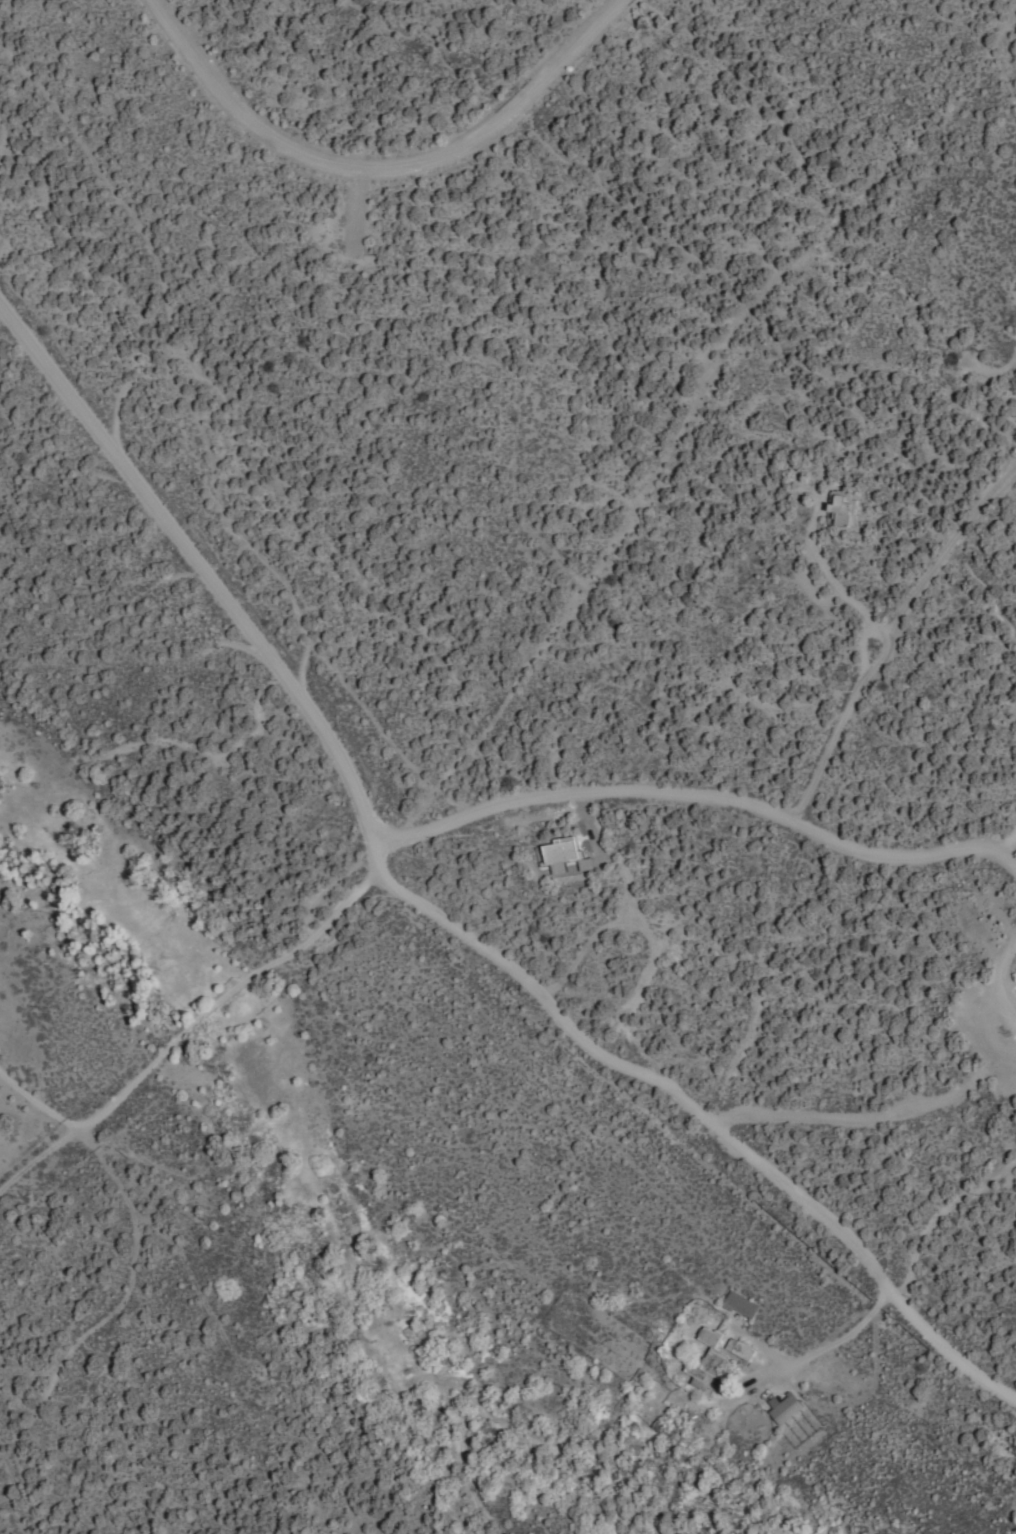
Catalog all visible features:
road: (376, 165)
building: (841, 507)
road: (199, 568)
road: (690, 794)
building: (564, 853)
road: (185, 1022)
road: (697, 1110)
road: (869, 1114)
building: (739, 1303)
building: (737, 1347)
building: (705, 1360)
building: (782, 1407)

